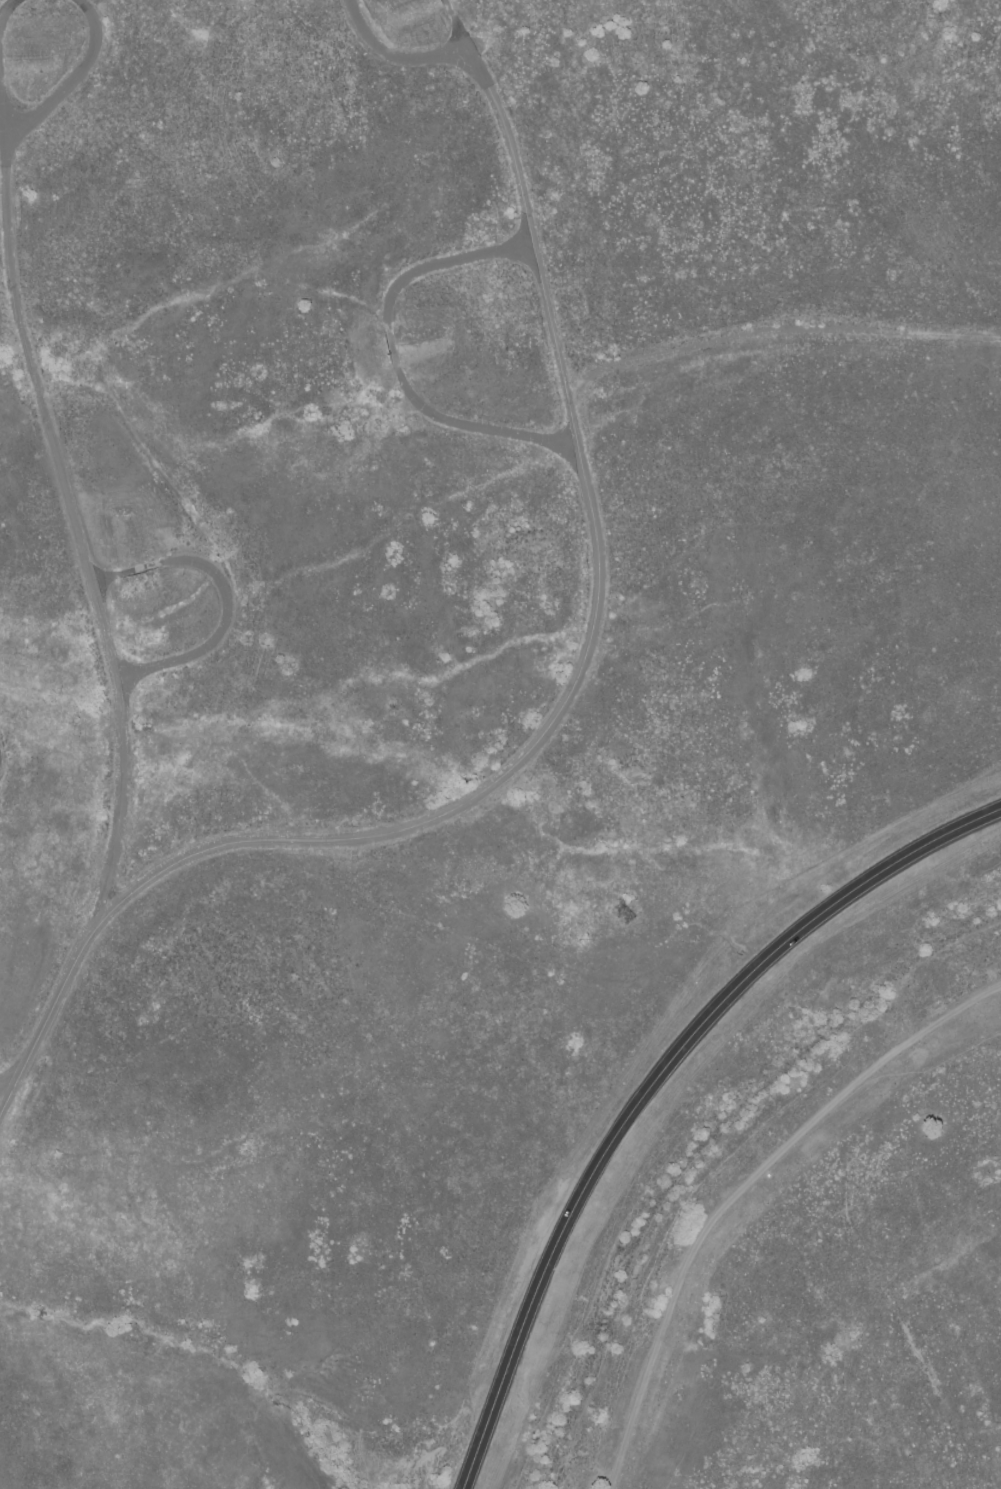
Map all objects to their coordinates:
road: (19, 41)
road: (412, 56)
road: (779, 327)
road: (393, 356)
road: (236, 612)
road: (594, 629)
road: (112, 644)
road: (8, 1079)
road: (653, 1085)
road: (742, 1192)

